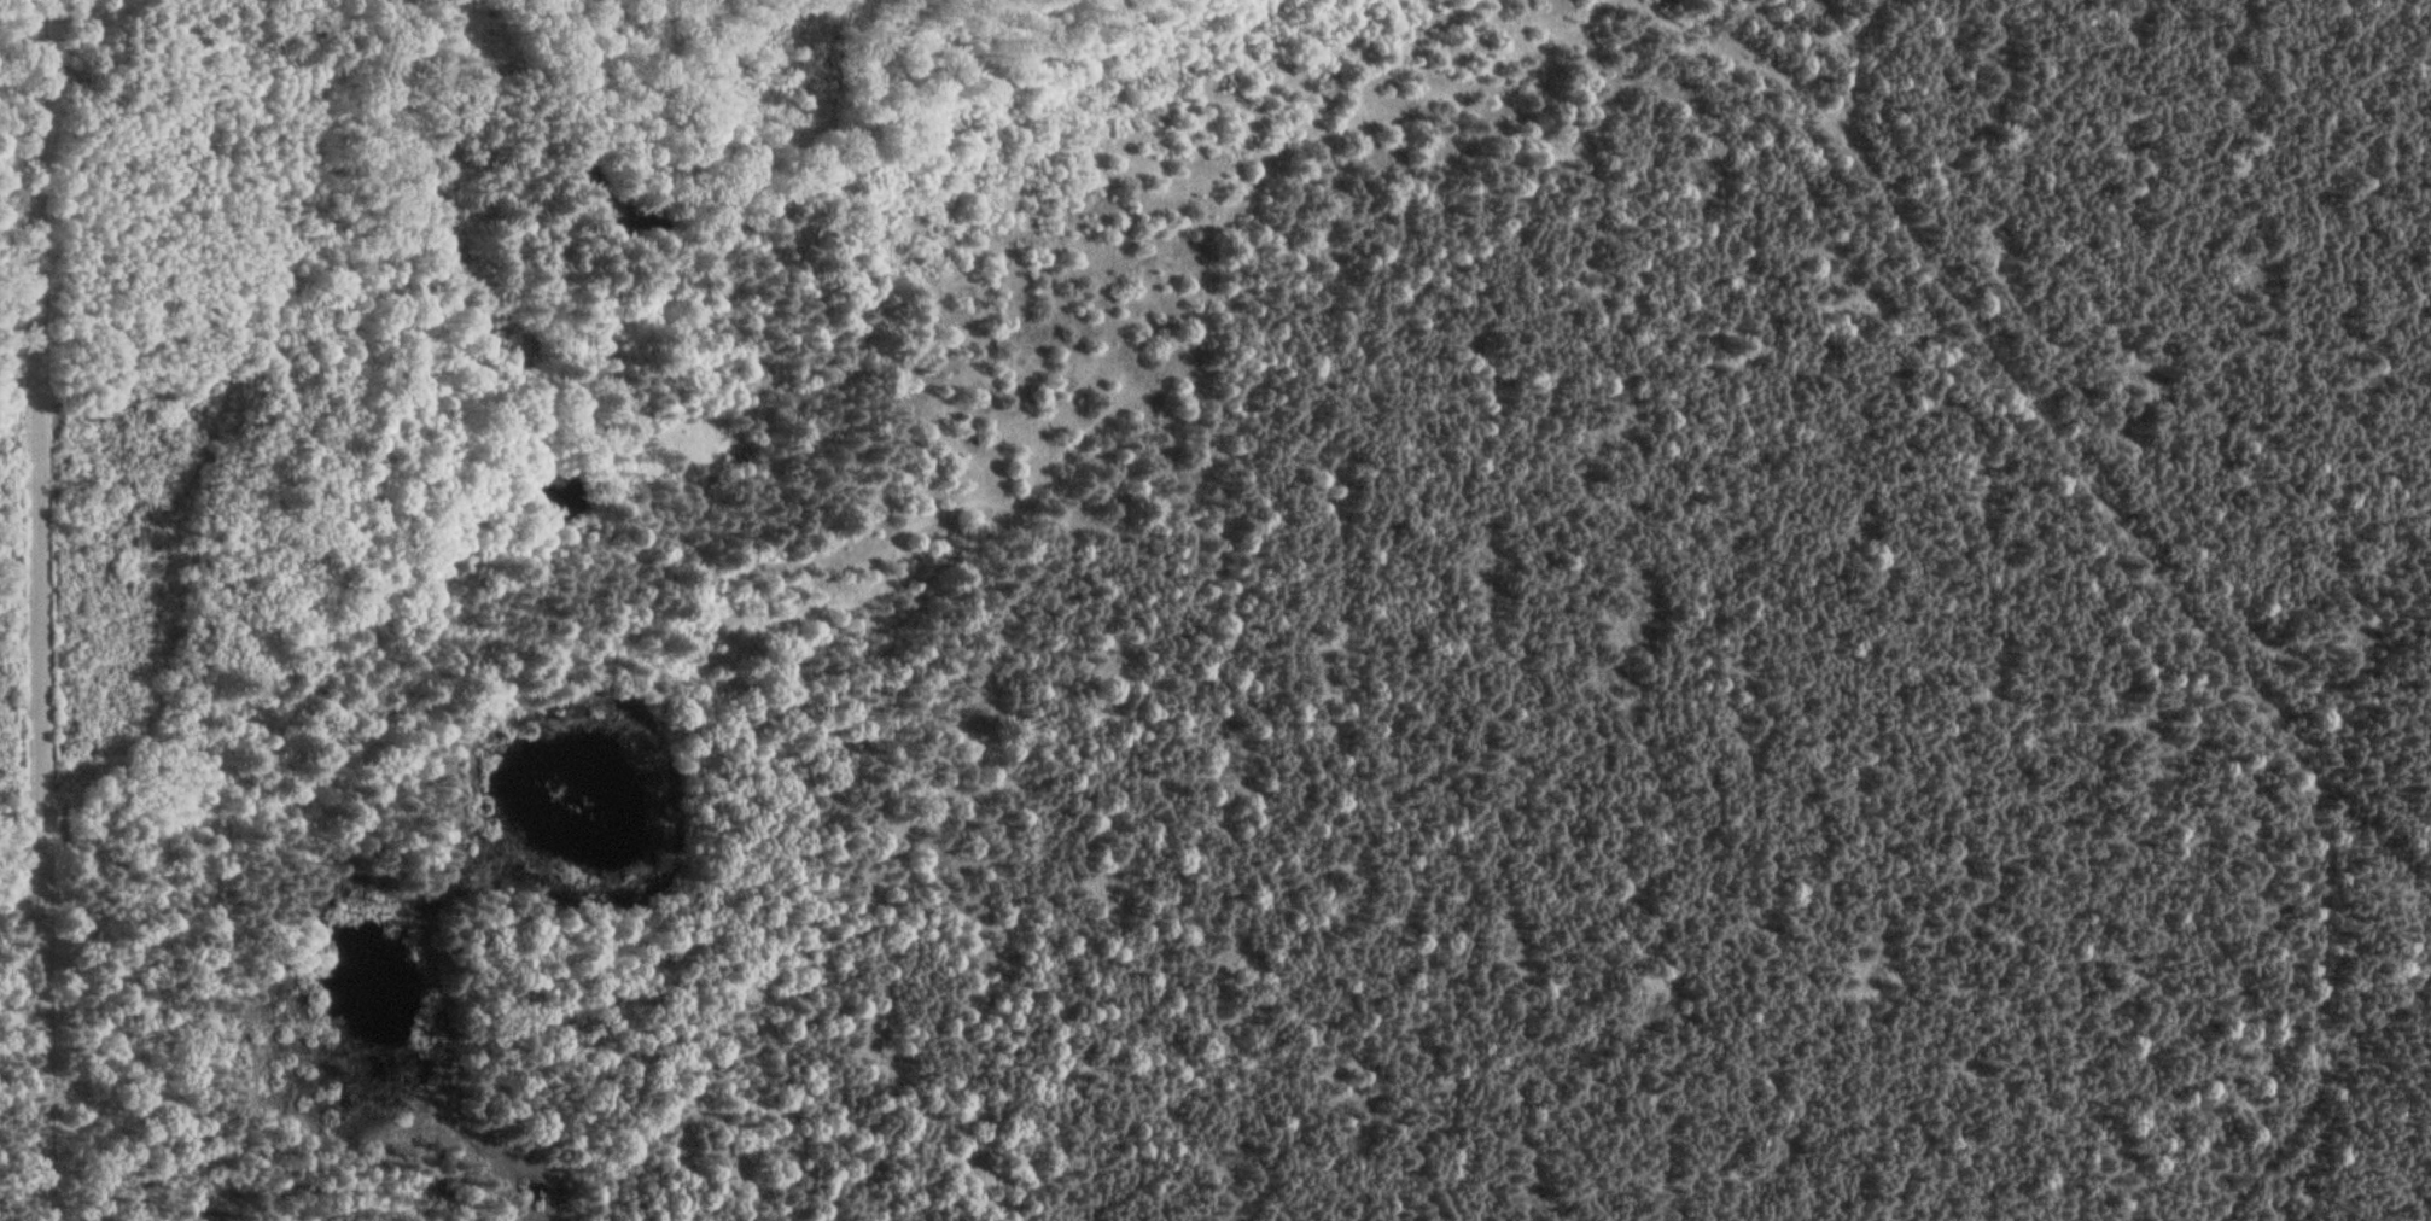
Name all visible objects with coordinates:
road: (2163, 596)
road: (43, 609)
road: (2365, 853)
road: (2368, 1039)

